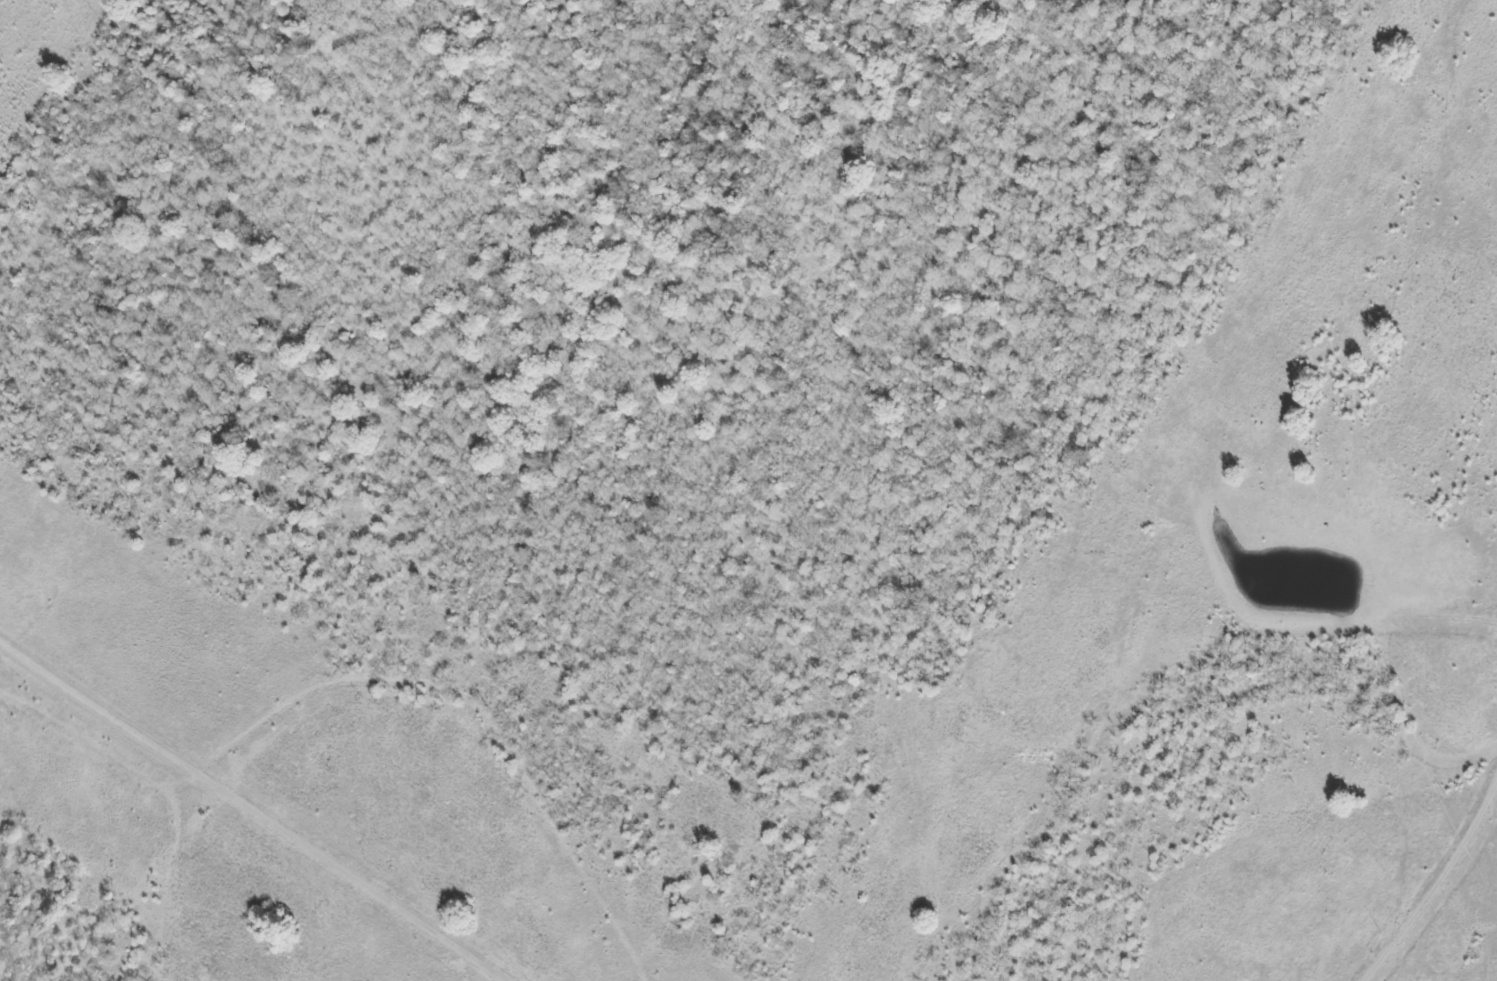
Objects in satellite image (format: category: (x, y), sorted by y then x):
road: (1436, 883)

